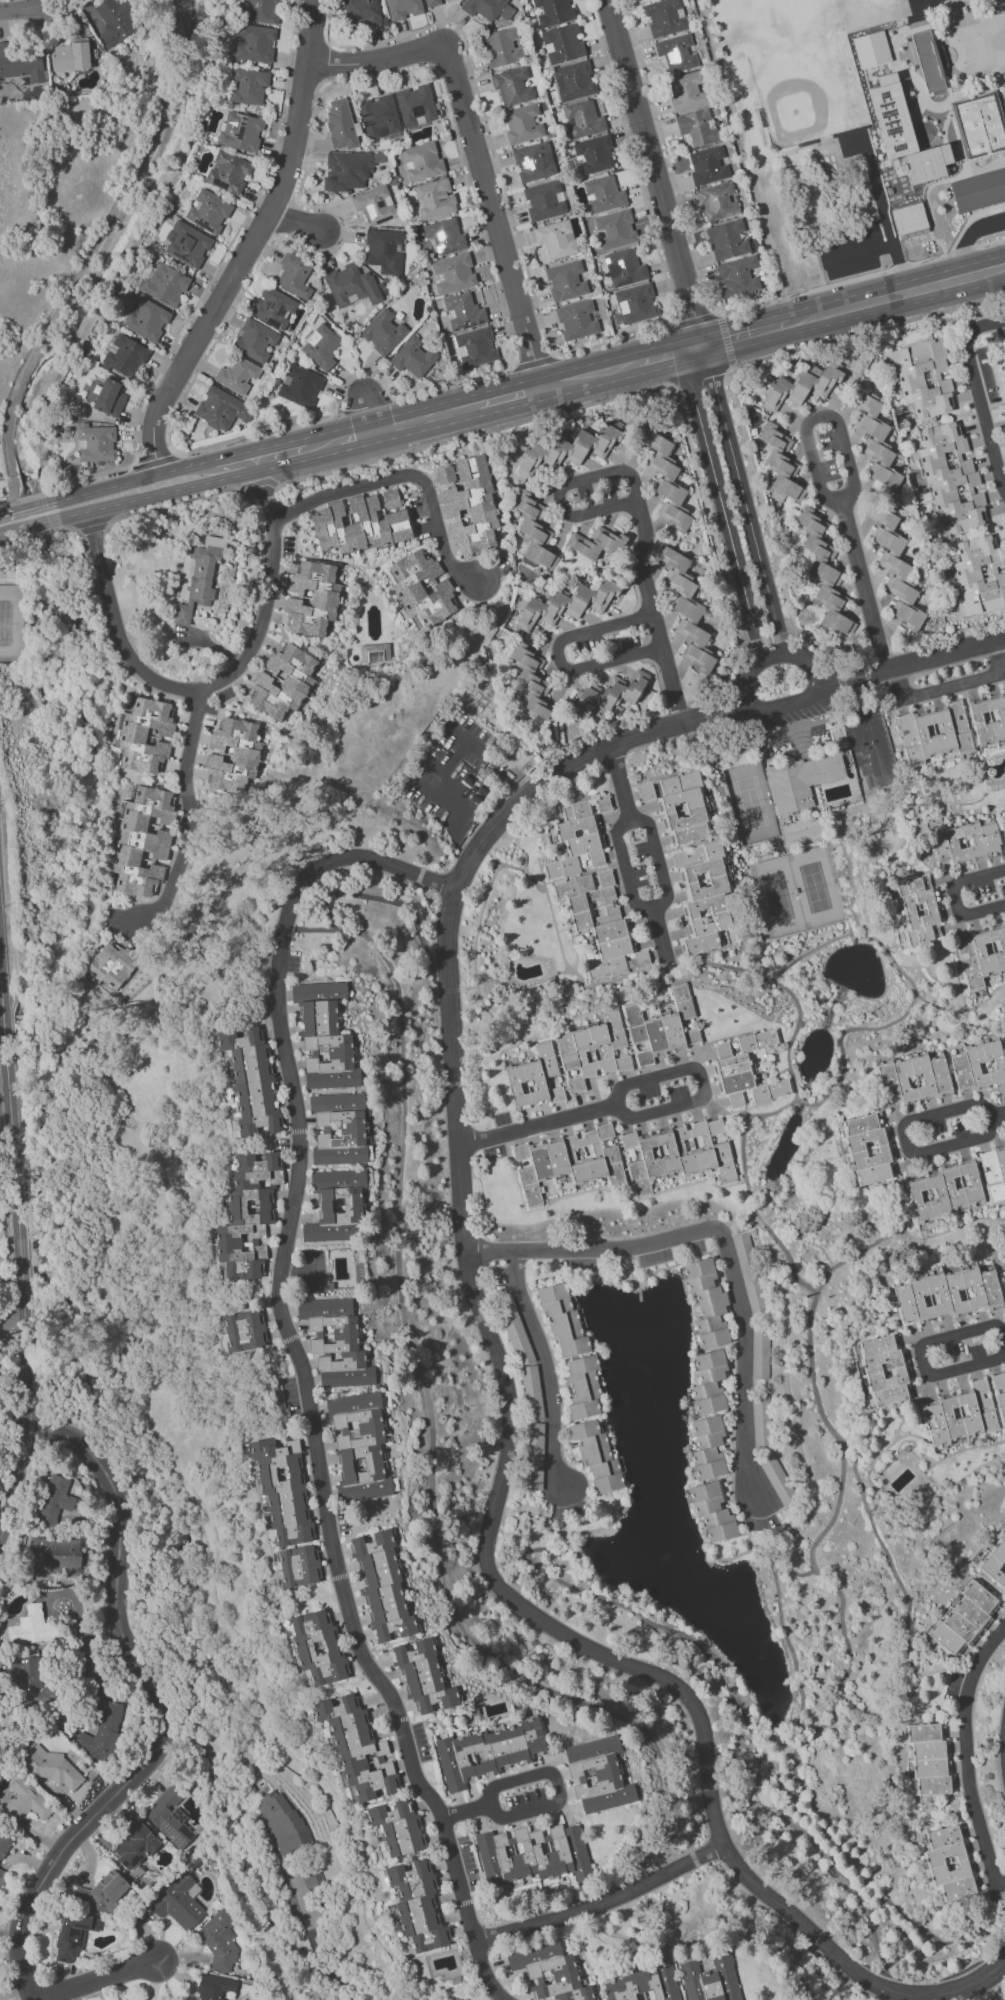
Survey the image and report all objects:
park: (918, 1)
building: (432, 3)
building: (403, 8)
building: (488, 8)
road: (22, 9)
building: (263, 11)
building: (552, 11)
building: (361, 12)
building: (665, 17)
building: (115, 21)
road: (310, 30)
building: (254, 43)
building: (562, 44)
building: (501, 47)
building: (871, 49)
building: (676, 52)
building: (70, 55)
building: (930, 59)
building: (20, 64)
building: (573, 81)
building: (512, 85)
building: (248, 86)
building: (686, 91)
park: (807, 94)
building: (415, 105)
building: (379, 116)
building: (891, 116)
building: (582, 119)
building: (523, 123)
building: (980, 123)
building: (340, 124)
building: (697, 126)
building: (240, 131)
road: (473, 148)
building: (593, 154)
building: (422, 161)
building: (534, 162)
building: (928, 163)
building: (707, 165)
building: (345, 170)
building: (228, 172)
road: (654, 173)
road: (875, 190)
building: (979, 190)
building: (603, 194)
building: (435, 199)
building: (544, 200)
building: (717, 201)
building: (374, 204)
building: (208, 211)
building: (910, 218)
road: (967, 220)
road: (298, 223)
building: (615, 229)
building: (444, 235)
road: (969, 238)
building: (556, 239)
building: (727, 239)
road: (887, 243)
building: (187, 245)
building: (384, 250)
building: (624, 267)
road: (235, 271)
building: (452, 273)
building: (294, 275)
building: (738, 277)
road: (861, 277)
building: (566, 281)
building: (164, 284)
building: (351, 285)
road: (899, 296)
building: (636, 303)
building: (273, 307)
building: (463, 311)
building: (146, 319)
road: (718, 319)
building: (577, 320)
road: (864, 330)
building: (383, 332)
road: (749, 336)
road: (613, 339)
building: (254, 340)
building: (321, 347)
building: (476, 347)
road: (692, 351)
building: (124, 356)
building: (413, 357)
road: (657, 359)
road: (534, 362)
building: (237, 375)
road: (587, 375)
road: (699, 376)
building: (923, 377)
building: (299, 386)
building: (801, 387)
road: (341, 388)
road: (508, 393)
building: (104, 396)
road: (979, 396)
road: (368, 402)
building: (221, 409)
road: (367, 412)
park: (1, 413)
road: (426, 418)
road: (8, 431)
road: (473, 433)
road: (356, 436)
building: (96, 443)
road: (322, 444)
building: (876, 444)
building: (570, 449)
road: (280, 454)
road: (155, 462)
building: (780, 464)
road: (233, 465)
park: (1, 469)
road: (407, 475)
building: (951, 478)
building: (666, 481)
road: (128, 482)
road: (258, 482)
road: (67, 483)
road: (852, 488)
road: (134, 500)
road: (171, 502)
building: (467, 503)
road: (38, 514)
road: (640, 515)
road: (12, 521)
building: (361, 522)
road: (61, 529)
road: (92, 529)
road: (750, 529)
building: (533, 530)
road: (38, 534)
road: (727, 534)
building: (596, 543)
road: (16, 544)
building: (894, 566)
building: (824, 573)
building: (979, 575)
building: (197, 577)
building: (420, 588)
building: (312, 598)
building: (566, 604)
building: (686, 610)
building: (762, 618)
park: (11, 623)
building: (375, 652)
road: (1000, 656)
road: (560, 657)
road: (772, 658)
building: (531, 680)
building: (283, 681)
road: (214, 685)
road: (937, 692)
building: (609, 693)
building: (988, 716)
road: (868, 727)
building: (933, 732)
building: (145, 735)
road: (456, 735)
building: (232, 756)
road: (453, 757)
road: (434, 763)
building: (863, 772)
building: (801, 782)
road: (620, 783)
building: (646, 792)
park: (751, 803)
building: (602, 804)
building: (682, 808)
road: (455, 810)
building: (1002, 820)
road: (188, 822)
building: (143, 839)
building: (576, 841)
building: (964, 842)
road: (659, 857)
road: (626, 870)
park: (815, 887)
building: (703, 896)
road: (955, 896)
park: (778, 897)
building: (917, 911)
building: (602, 923)
road: (661, 931)
building: (981, 954)
building: (111, 965)
building: (662, 1027)
building: (324, 1036)
building: (592, 1048)
building: (978, 1066)
building: (746, 1070)
building: (913, 1076)
building: (534, 1078)
building: (250, 1081)
road: (4, 1085)
road: (22, 1112)
road: (642, 1112)
road: (998, 1116)
road: (457, 1120)
building: (338, 1129)
road: (906, 1140)
building: (869, 1149)
building: (678, 1153)
building: (567, 1161)
building: (994, 1173)
building: (943, 1191)
building: (336, 1206)
building: (246, 1216)
road: (720, 1237)
road: (21, 1268)
building: (749, 1273)
building: (1004, 1283)
building: (947, 1292)
building: (706, 1301)
road: (11, 1317)
building: (563, 1320)
building: (244, 1330)
building: (335, 1342)
building: (760, 1352)
road: (920, 1356)
road: (544, 1367)
building: (884, 1370)
road: (303, 1373)
building: (709, 1382)
building: (583, 1386)
building: (532, 1392)
building: (1000, 1394)
building: (961, 1412)
road: (34, 1416)
building: (761, 1423)
building: (359, 1446)
building: (708, 1448)
building: (596, 1455)
building: (535, 1456)
building: (778, 1481)
building: (280, 1487)
building: (54, 1500)
building: (712, 1512)
building: (61, 1554)
building: (995, 1560)
building: (296, 1566)
building: (383, 1587)
building: (964, 1619)
building: (32, 1627)
building: (316, 1648)
building: (424, 1677)
road: (98, 1680)
building: (32, 1683)
road: (158, 1709)
building: (101, 1733)
building: (357, 1749)
building: (487, 1751)
road: (967, 1755)
building: (929, 1758)
building: (49, 1766)
building: (598, 1774)
building: (26, 1801)
road: (552, 1804)
building: (170, 1817)
building: (282, 1822)
building: (398, 1827)
building: (134, 1846)
building: (532, 1855)
building: (949, 1862)
building: (1, 1878)
building: (305, 1884)
building: (105, 1891)
road: (603, 1901)
building: (179, 1902)
building: (416, 1906)
building: (73, 1935)
road: (847, 1965)
building: (549, 1972)
road: (96, 1979)
building: (710, 1979)
building: (644, 1985)
building: (215, 1988)
road: (331, 1999)

